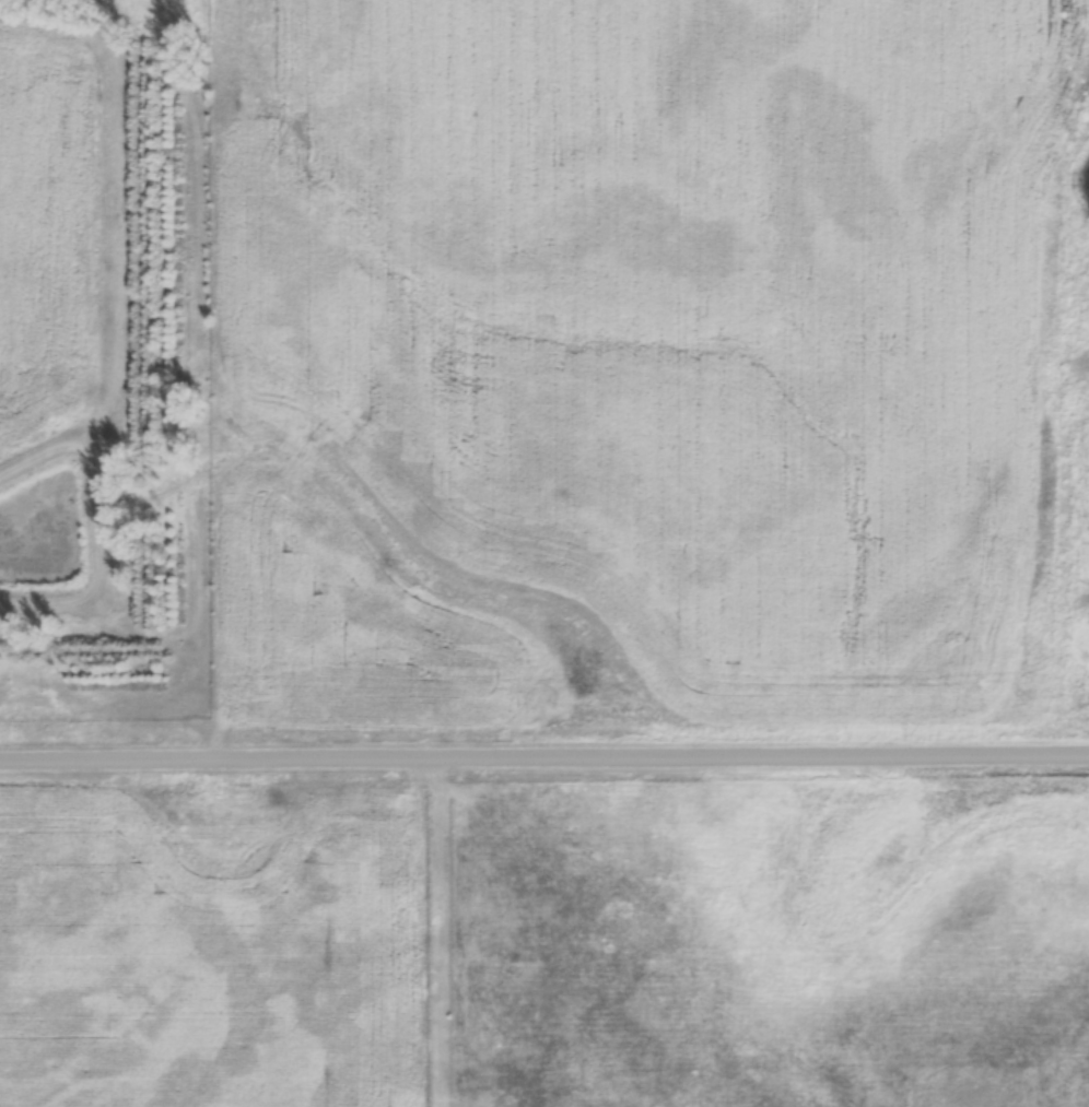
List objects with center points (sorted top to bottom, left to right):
crop: (58, 227)
crop: (637, 360)
road: (544, 756)

